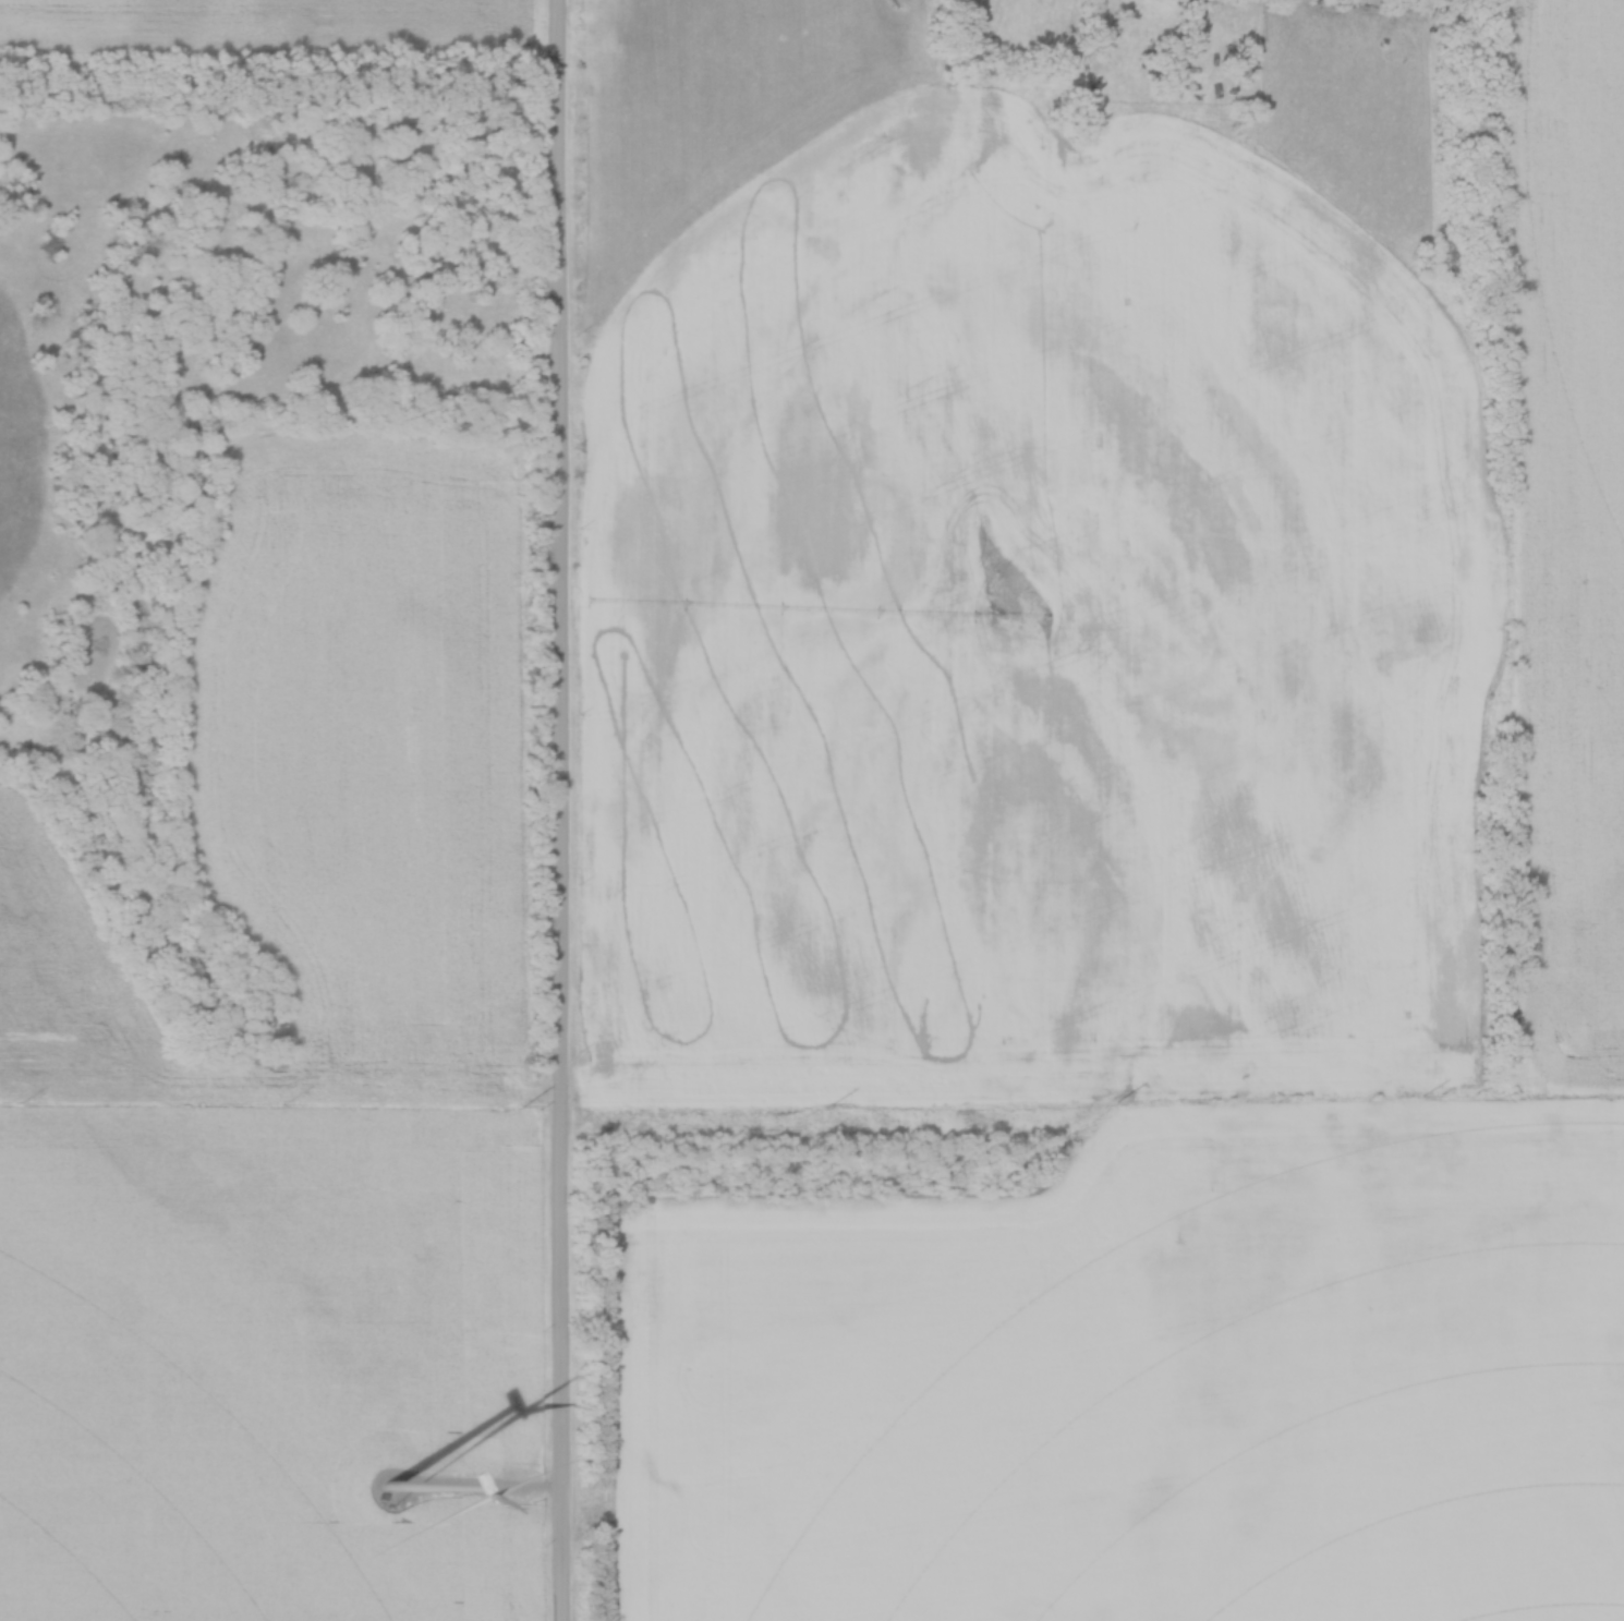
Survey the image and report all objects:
road: (561, 810)
wind turbine: (387, 1485)

